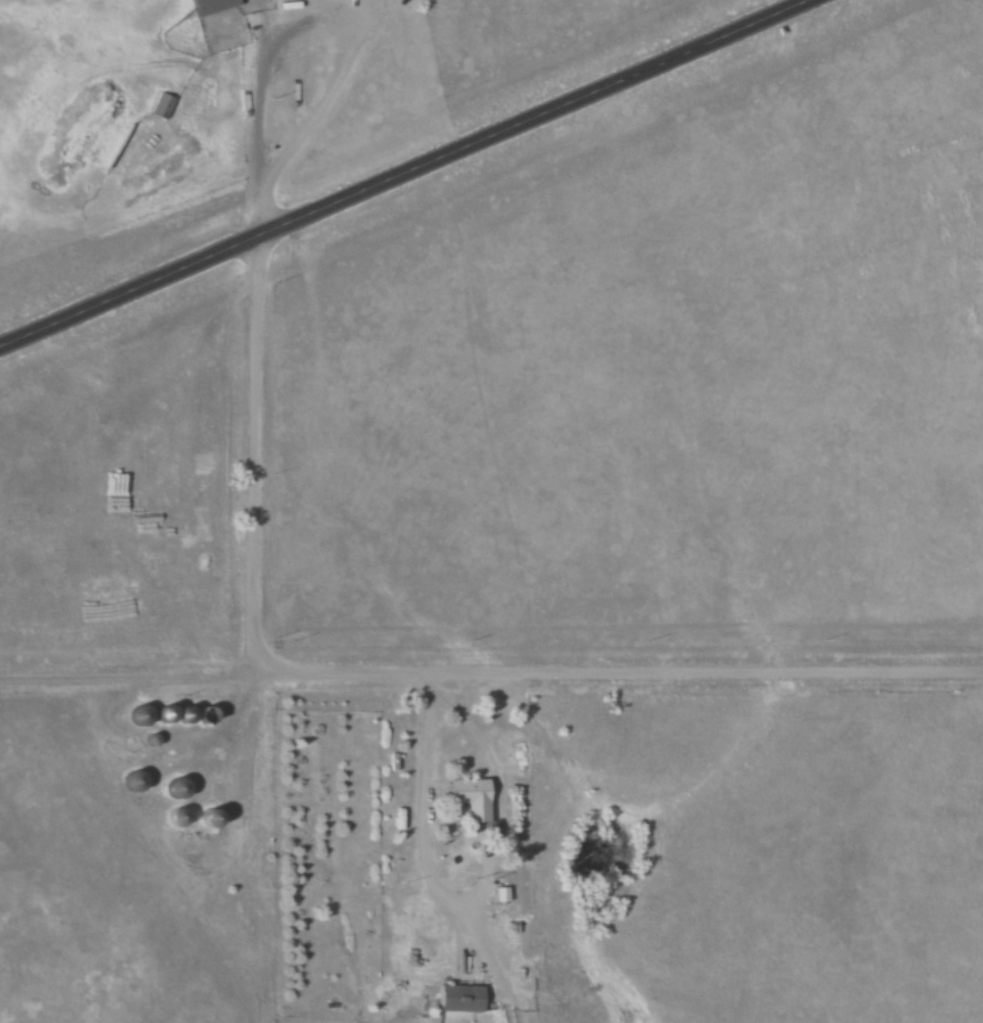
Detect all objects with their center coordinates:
building: (211, 5)
building: (162, 105)
road: (260, 116)
road: (404, 173)
road: (132, 666)
road: (409, 671)
road: (417, 679)
building: (165, 713)
building: (139, 715)
building: (184, 715)
building: (134, 781)
building: (177, 788)
building: (469, 798)
building: (175, 818)
building: (208, 818)
road: (440, 885)
building: (459, 998)

